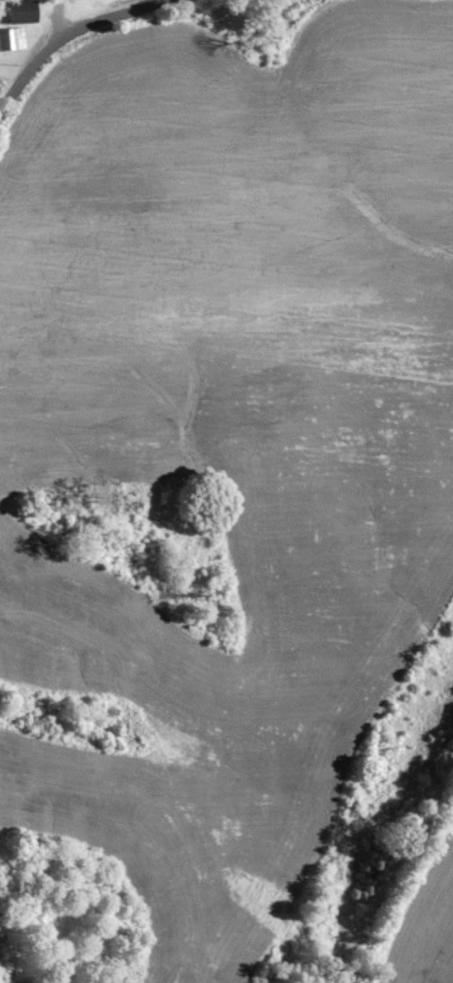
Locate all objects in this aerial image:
building: (23, 12)
road: (66, 30)
building: (12, 40)

